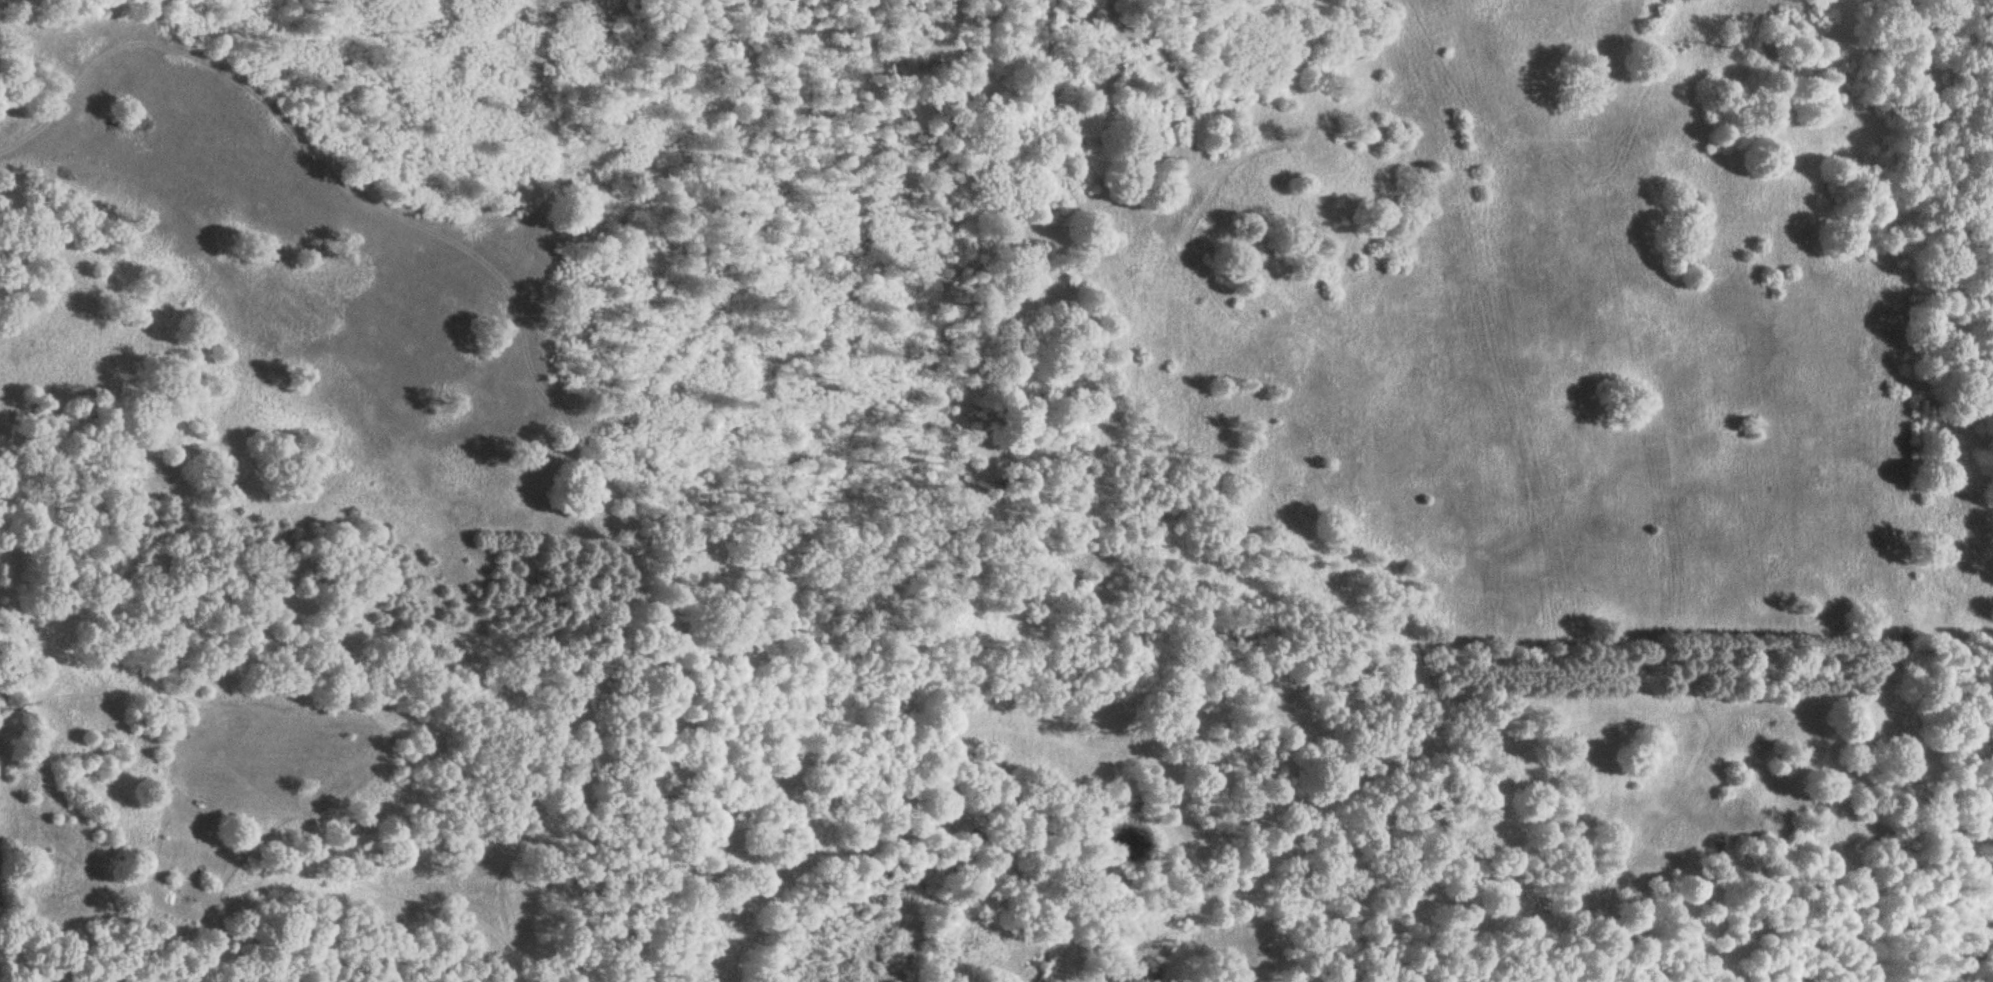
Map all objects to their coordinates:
road: (64, 94)
building: (1047, 969)

